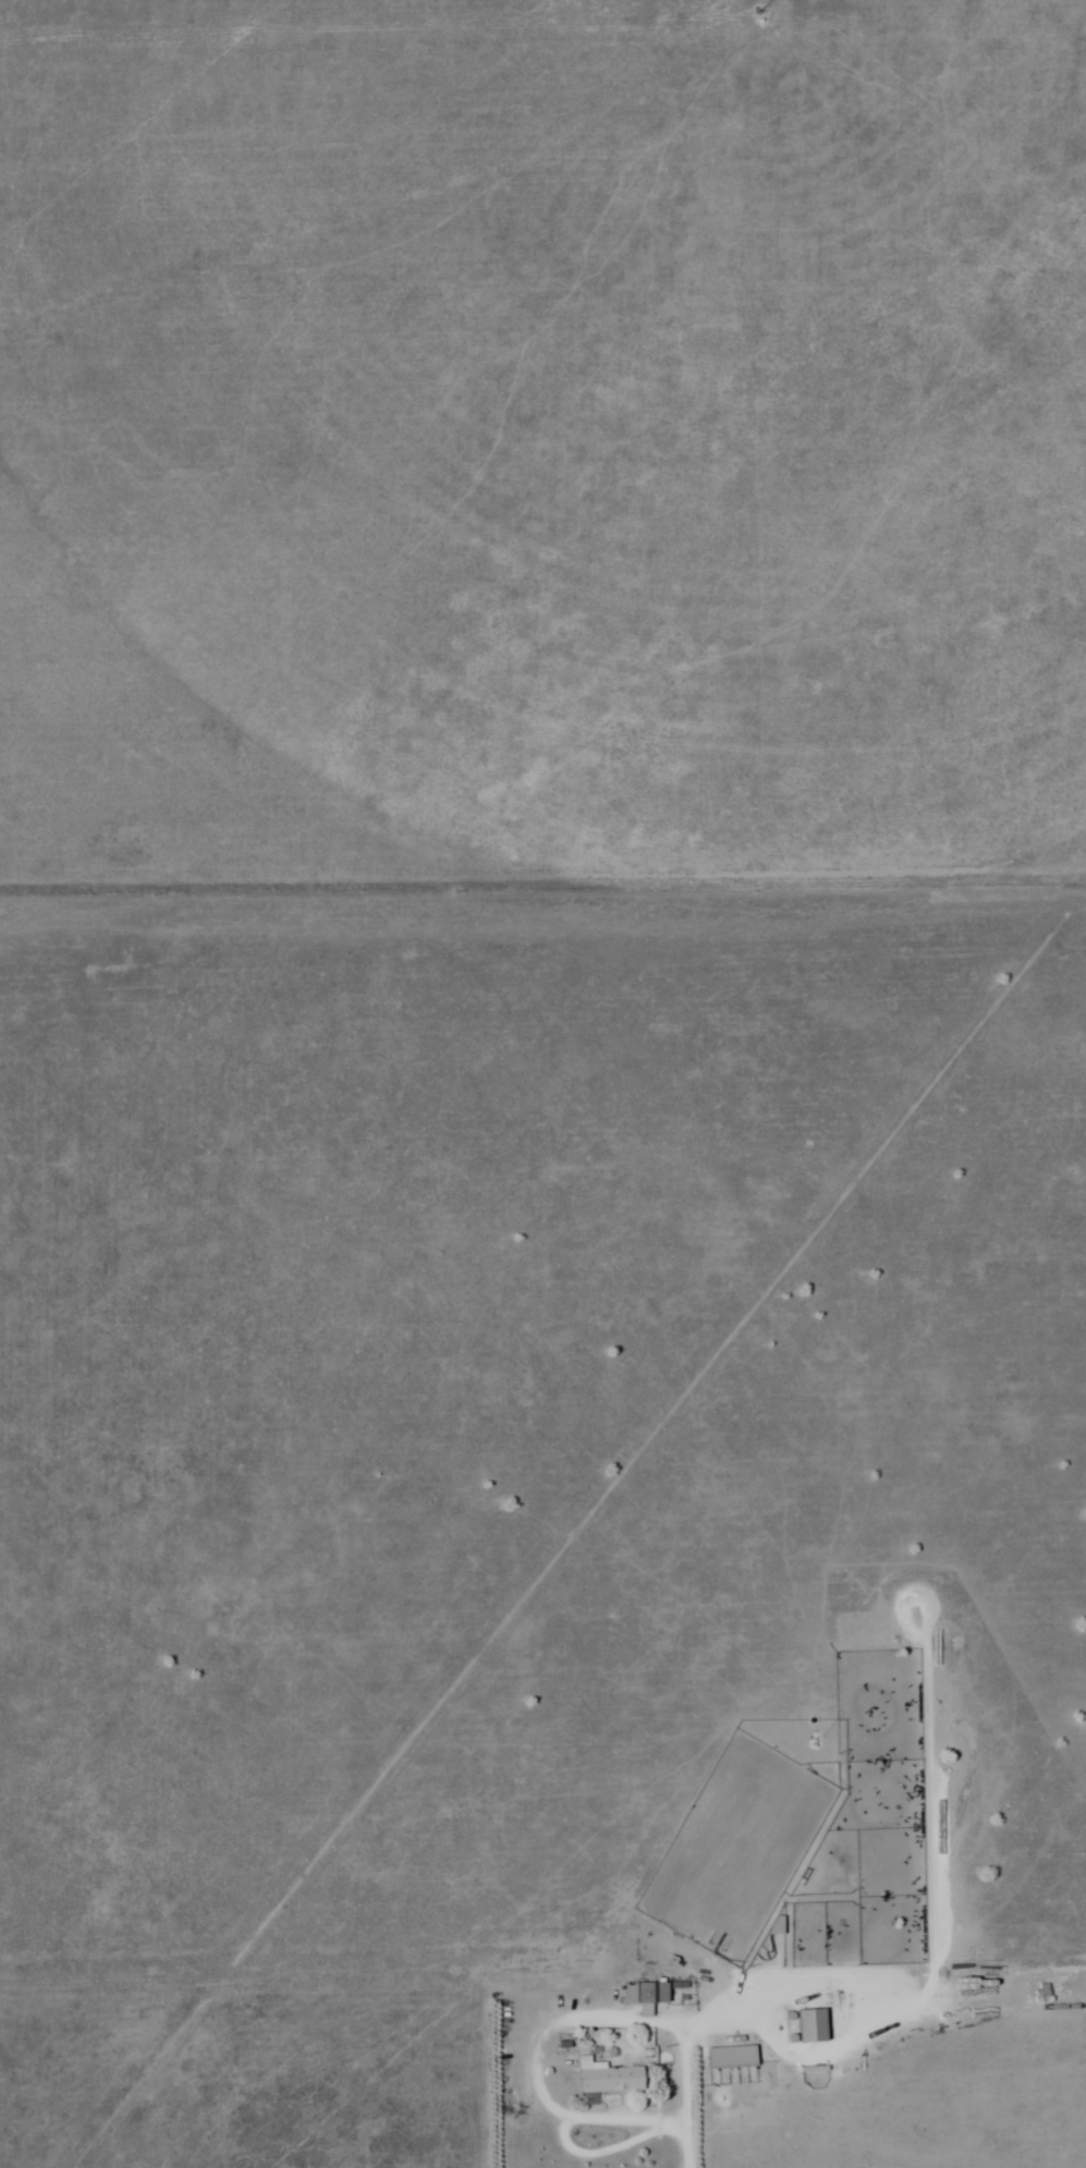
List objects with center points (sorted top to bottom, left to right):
building: (808, 2027)
road: (537, 2071)
building: (606, 2079)
road: (687, 2097)

